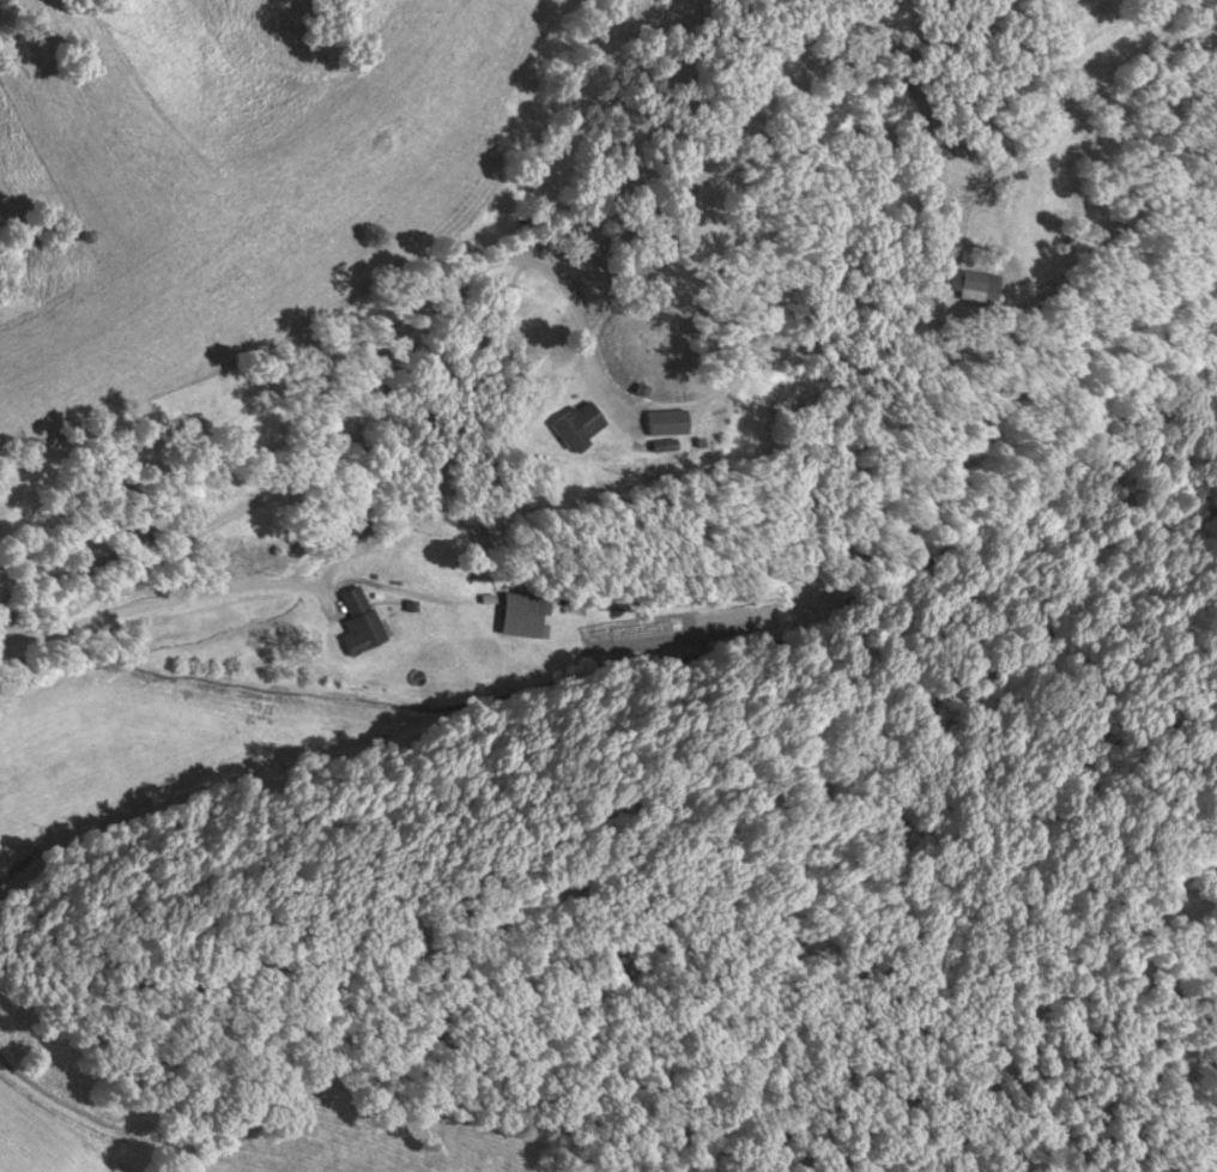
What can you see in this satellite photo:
building: (969, 285)
building: (664, 423)
road: (347, 425)
building: (575, 425)
road: (169, 602)
building: (520, 615)
building: (357, 621)

